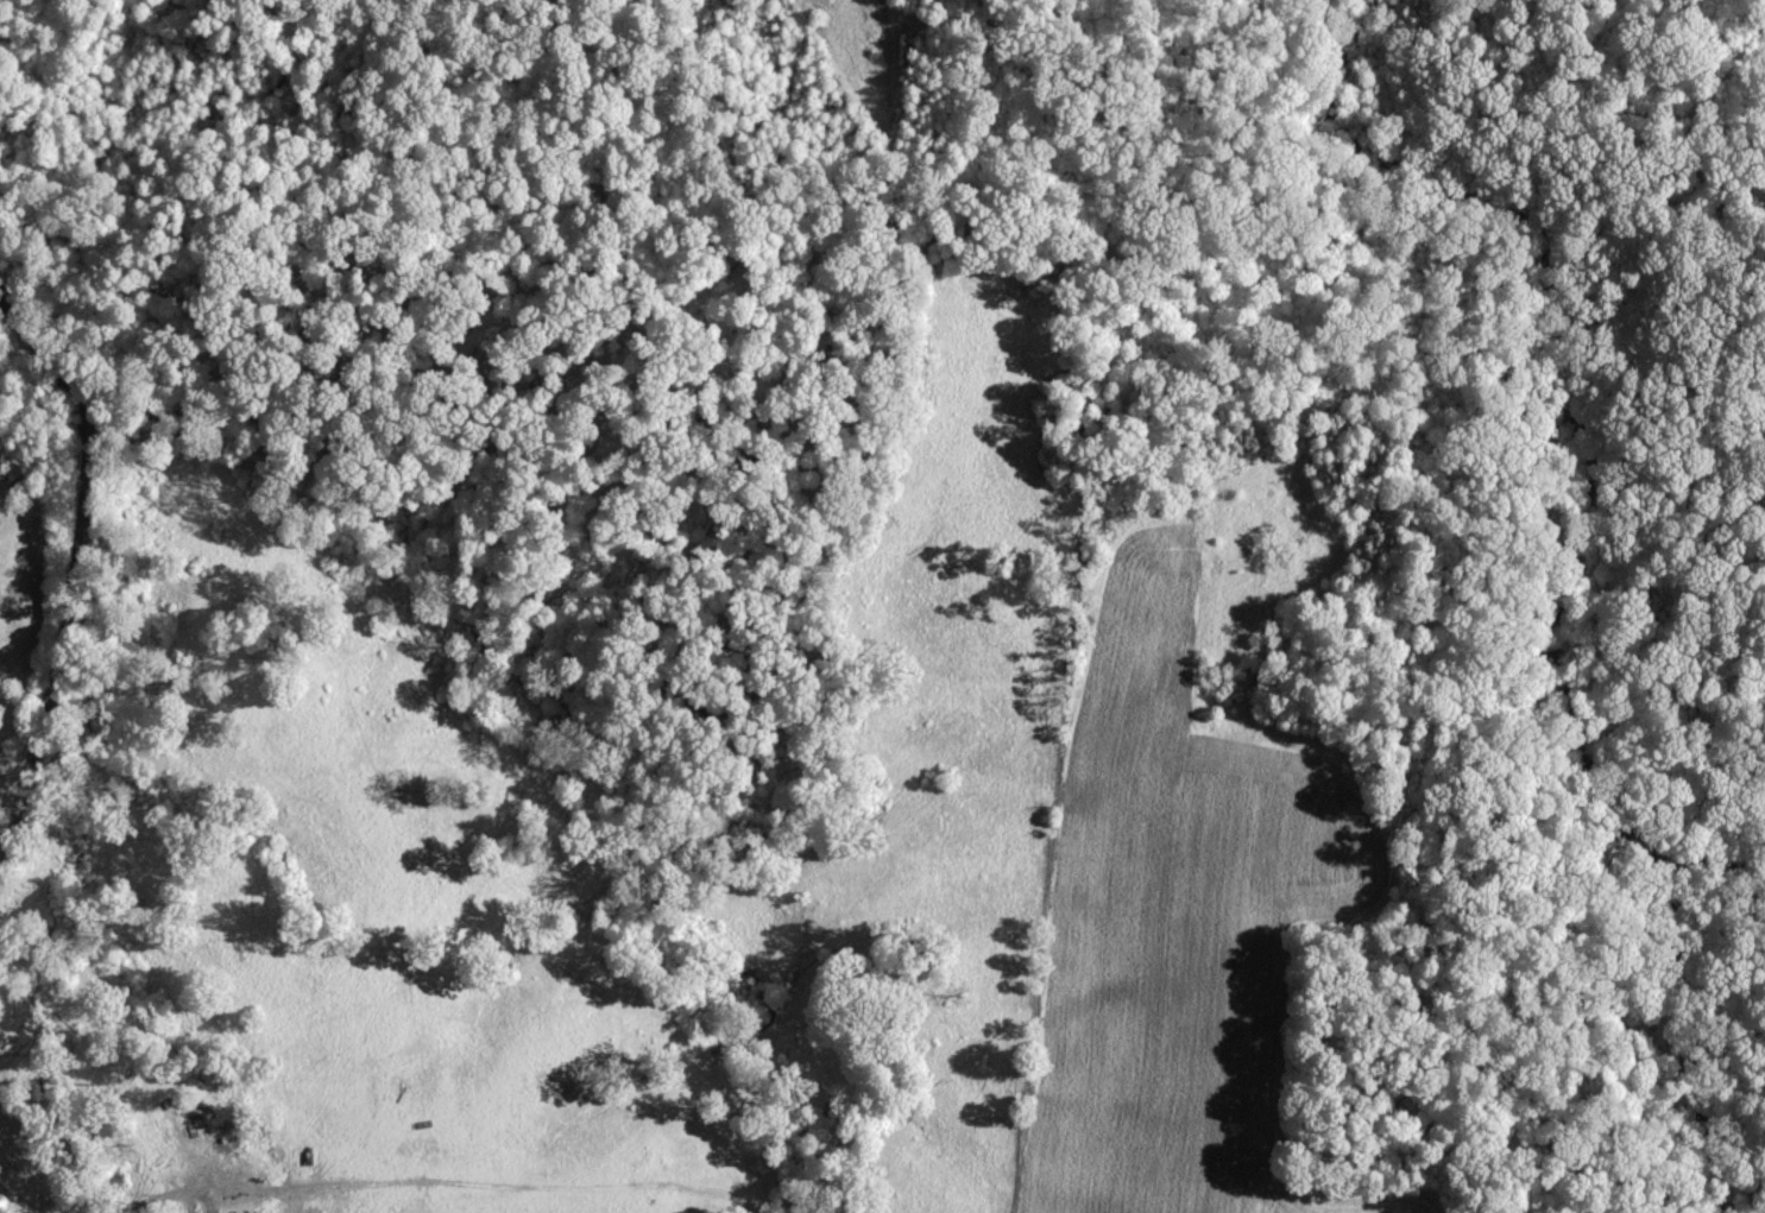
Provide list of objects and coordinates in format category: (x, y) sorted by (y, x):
road: (73, 562)
building: (1, 627)
road: (2, 838)

